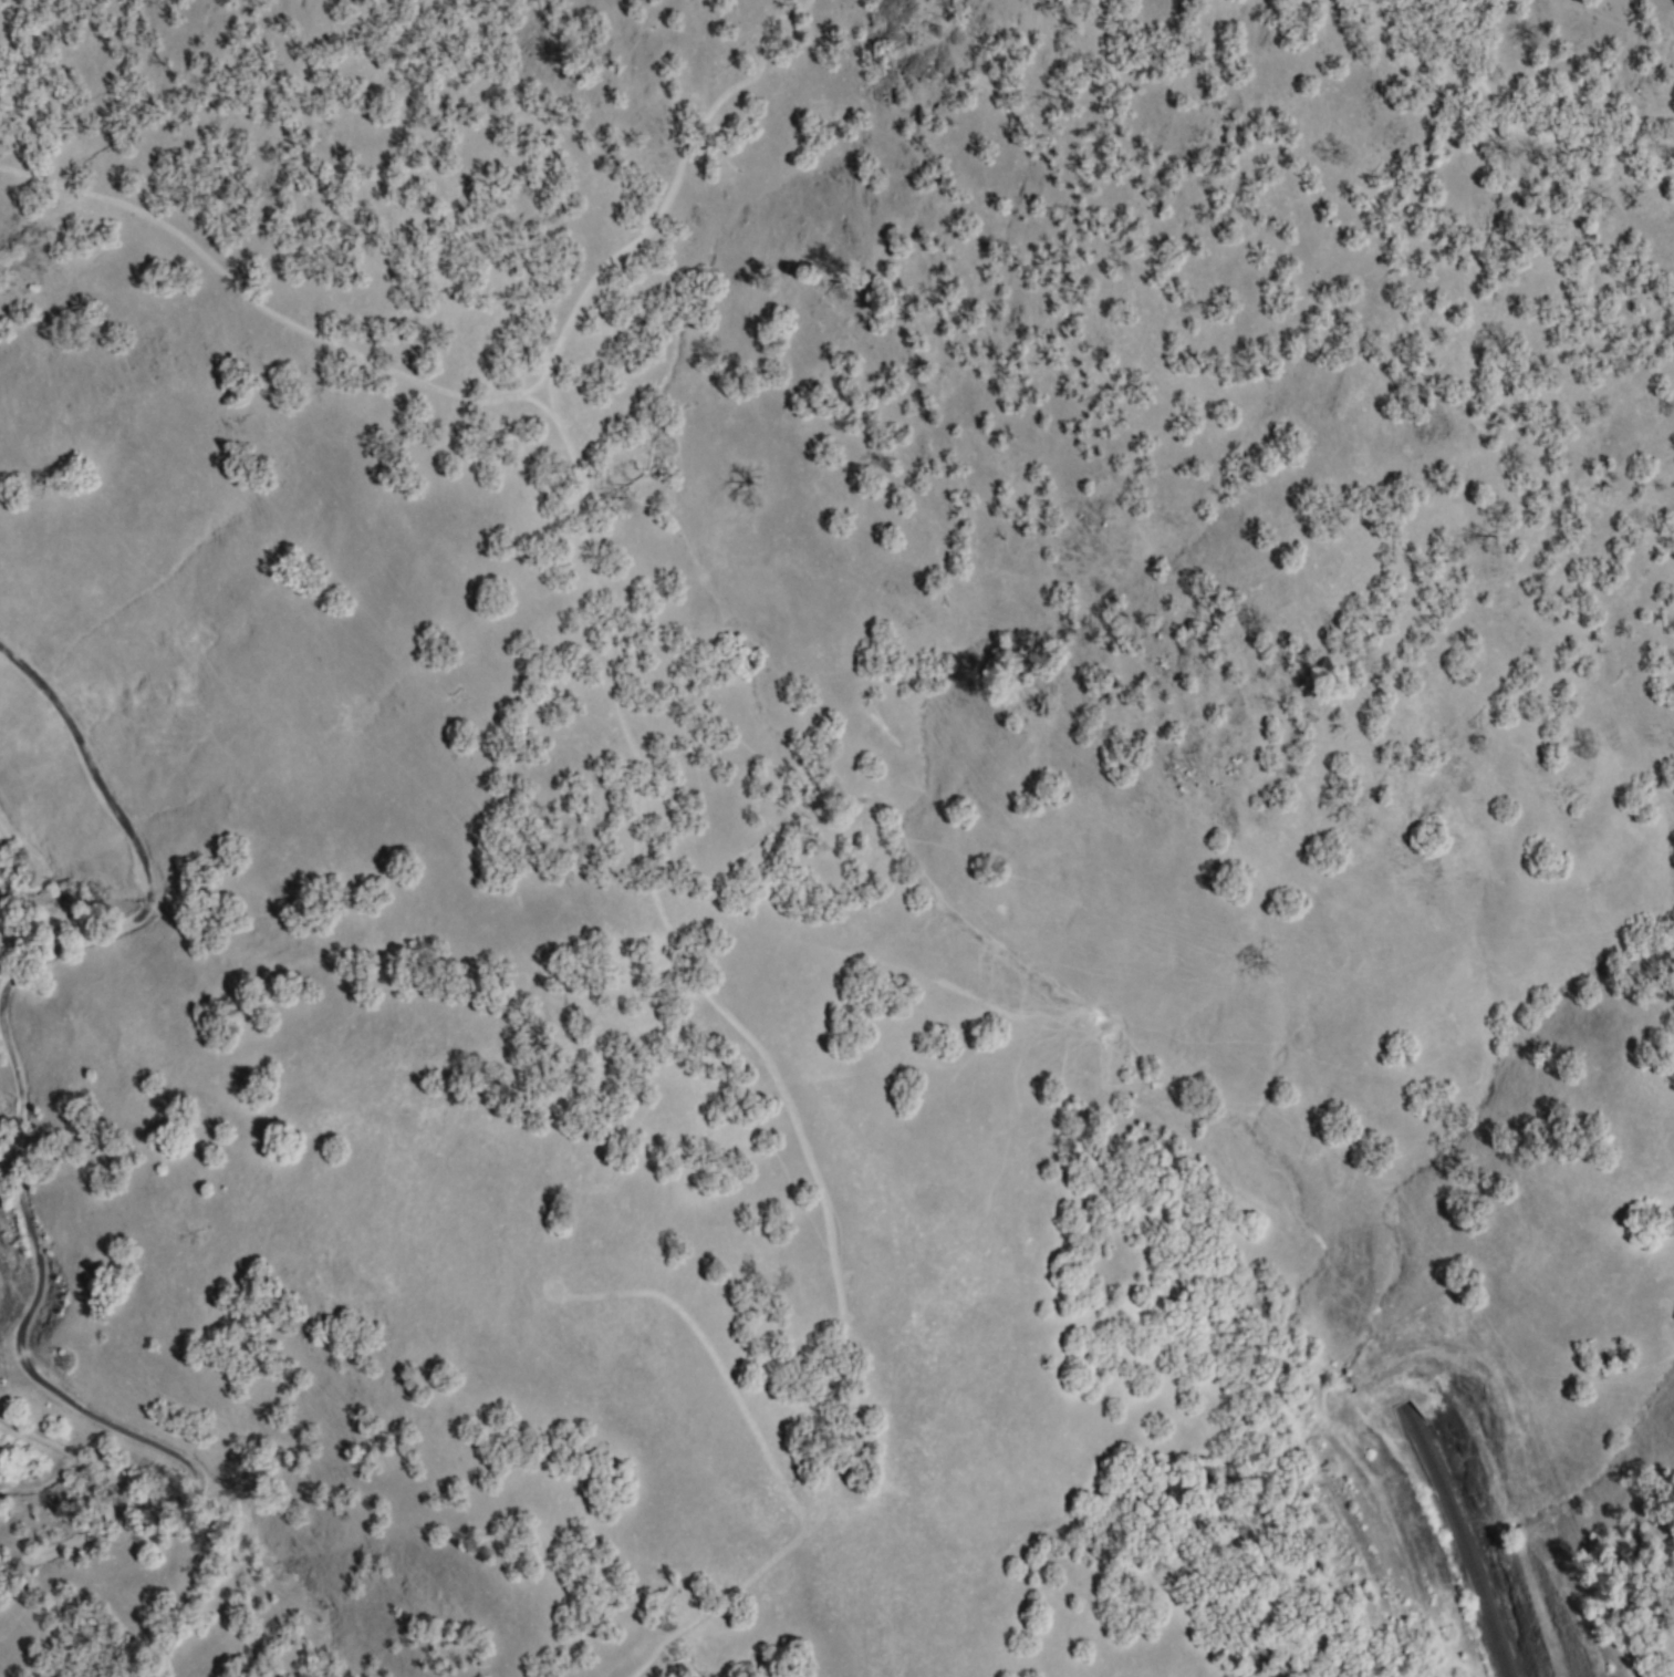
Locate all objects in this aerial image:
railway: (1460, 1538)

